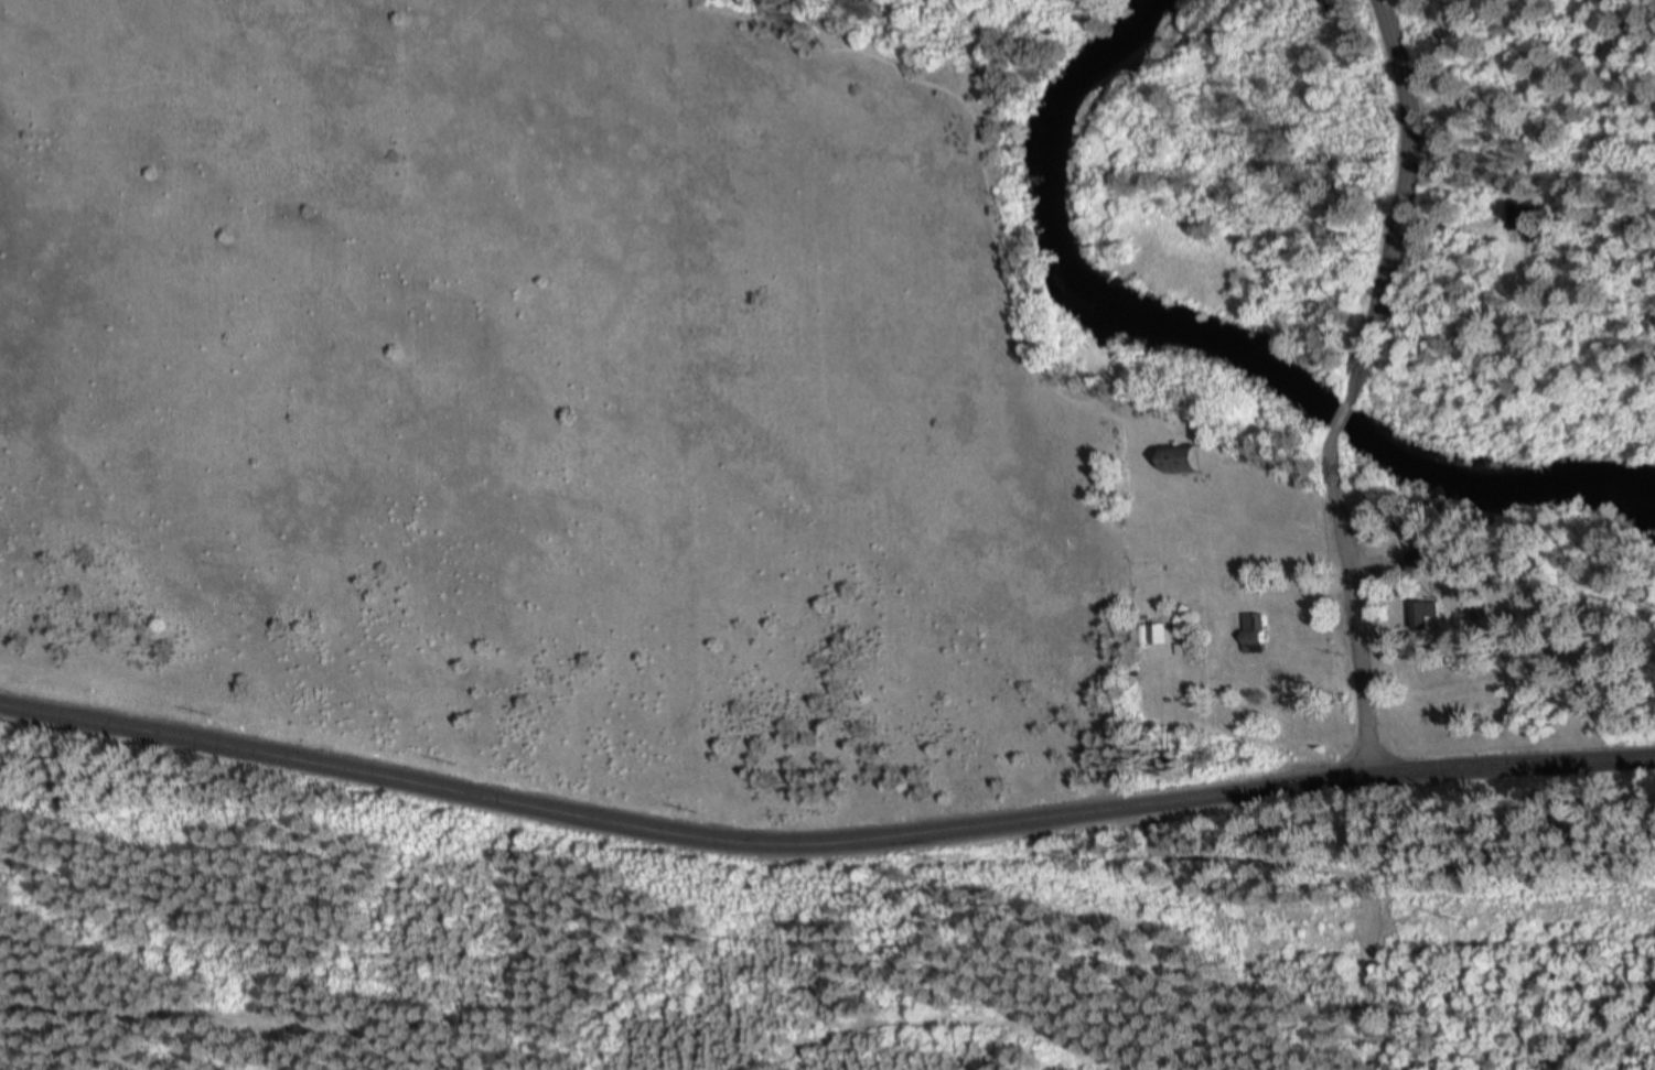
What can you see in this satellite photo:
river: (1206, 350)
road: (1355, 386)
building: (1184, 466)
building: (1248, 625)
road: (821, 844)

